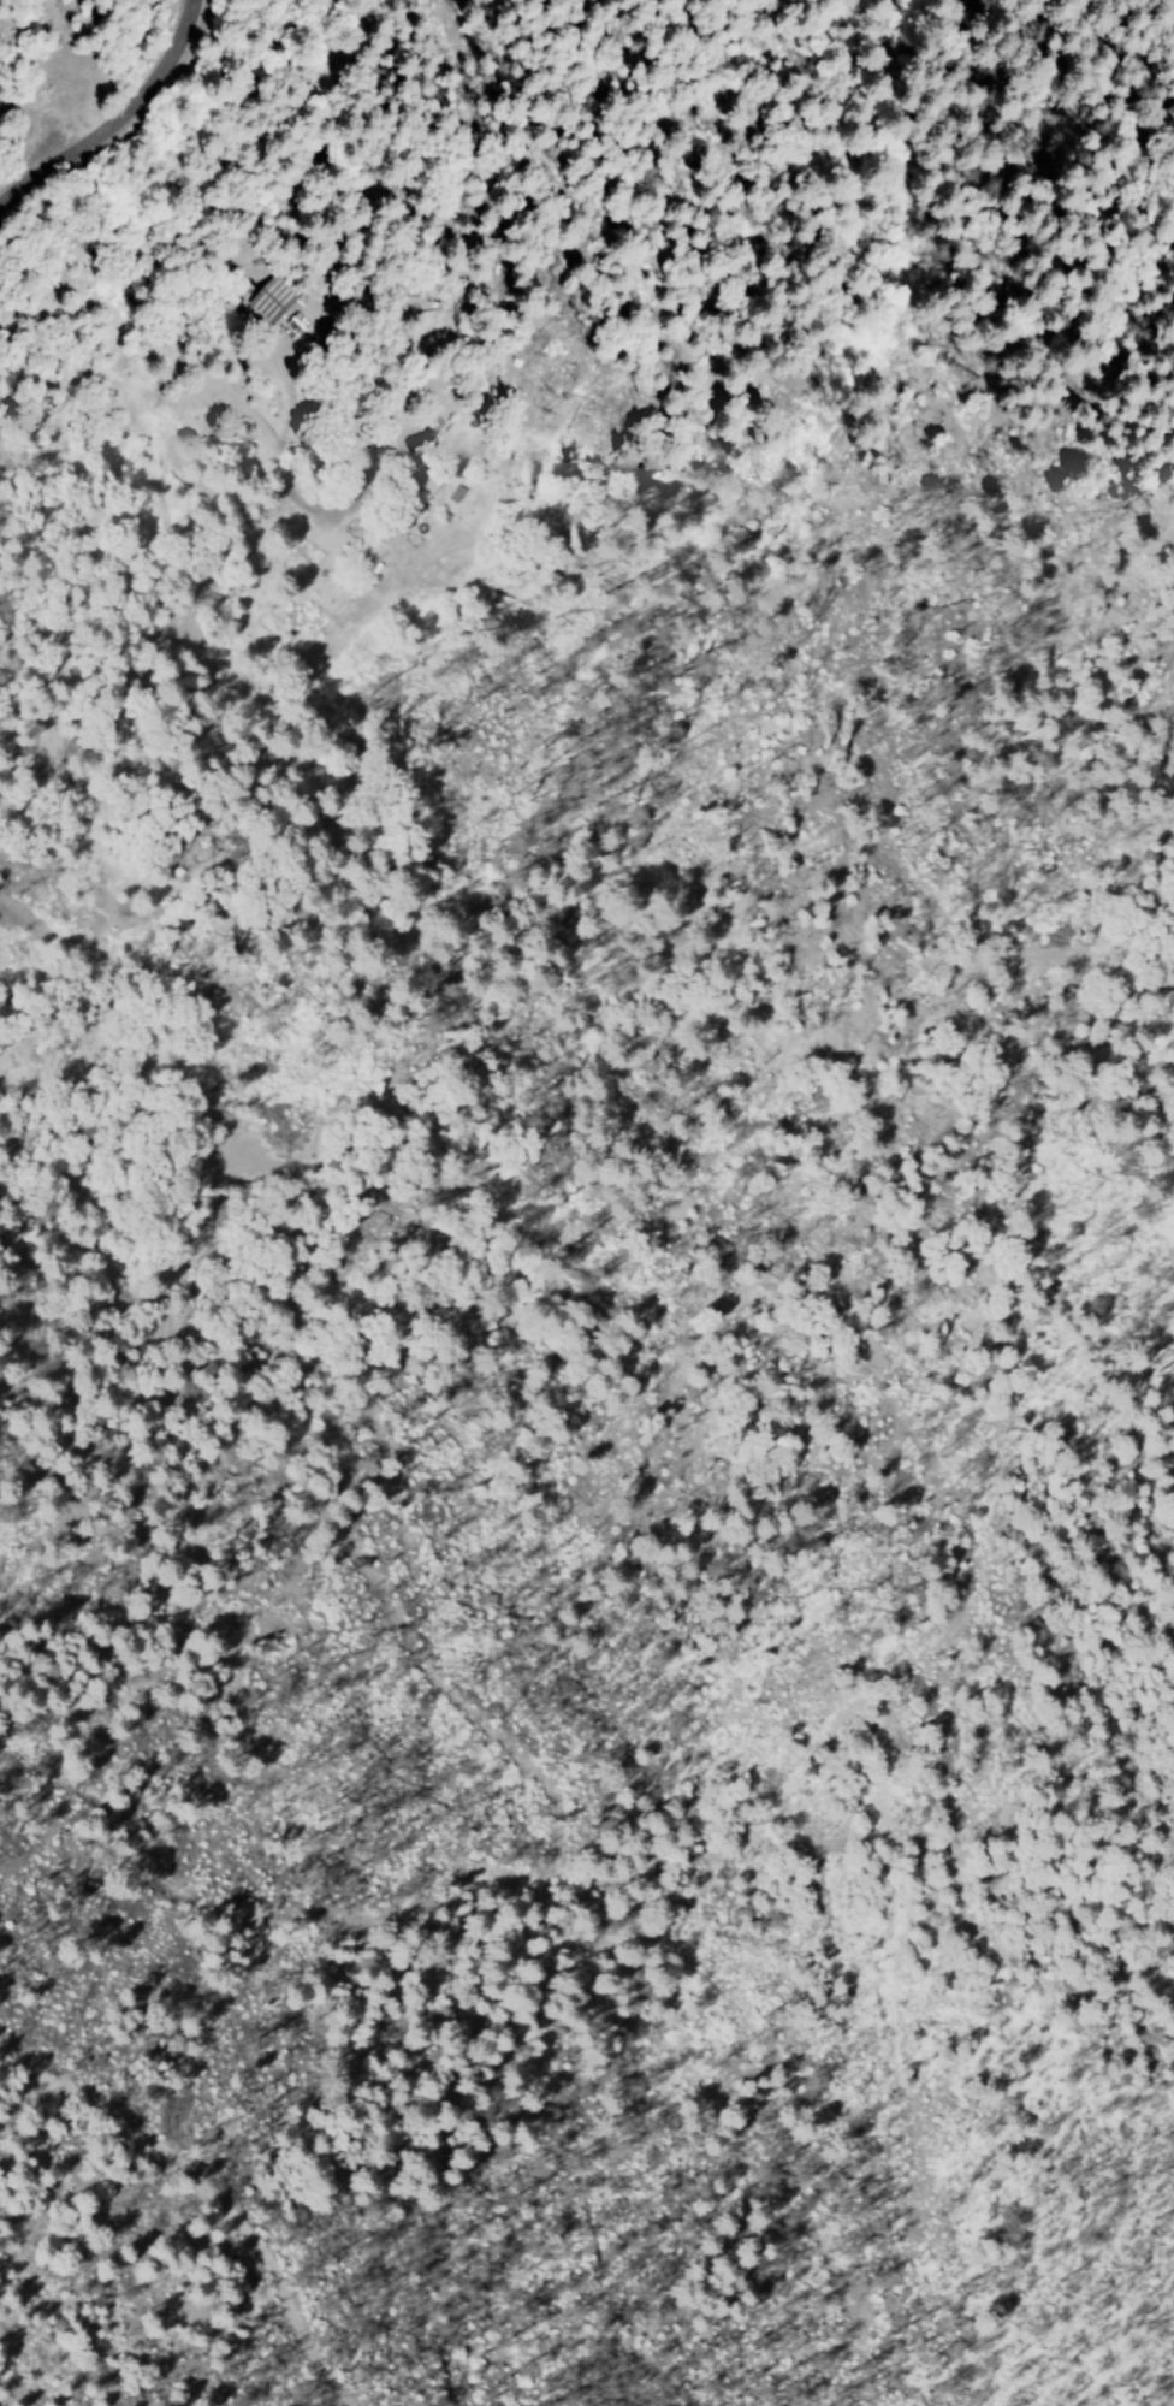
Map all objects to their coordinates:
road: (119, 118)
road: (195, 288)
building: (414, 475)
road: (203, 2205)

